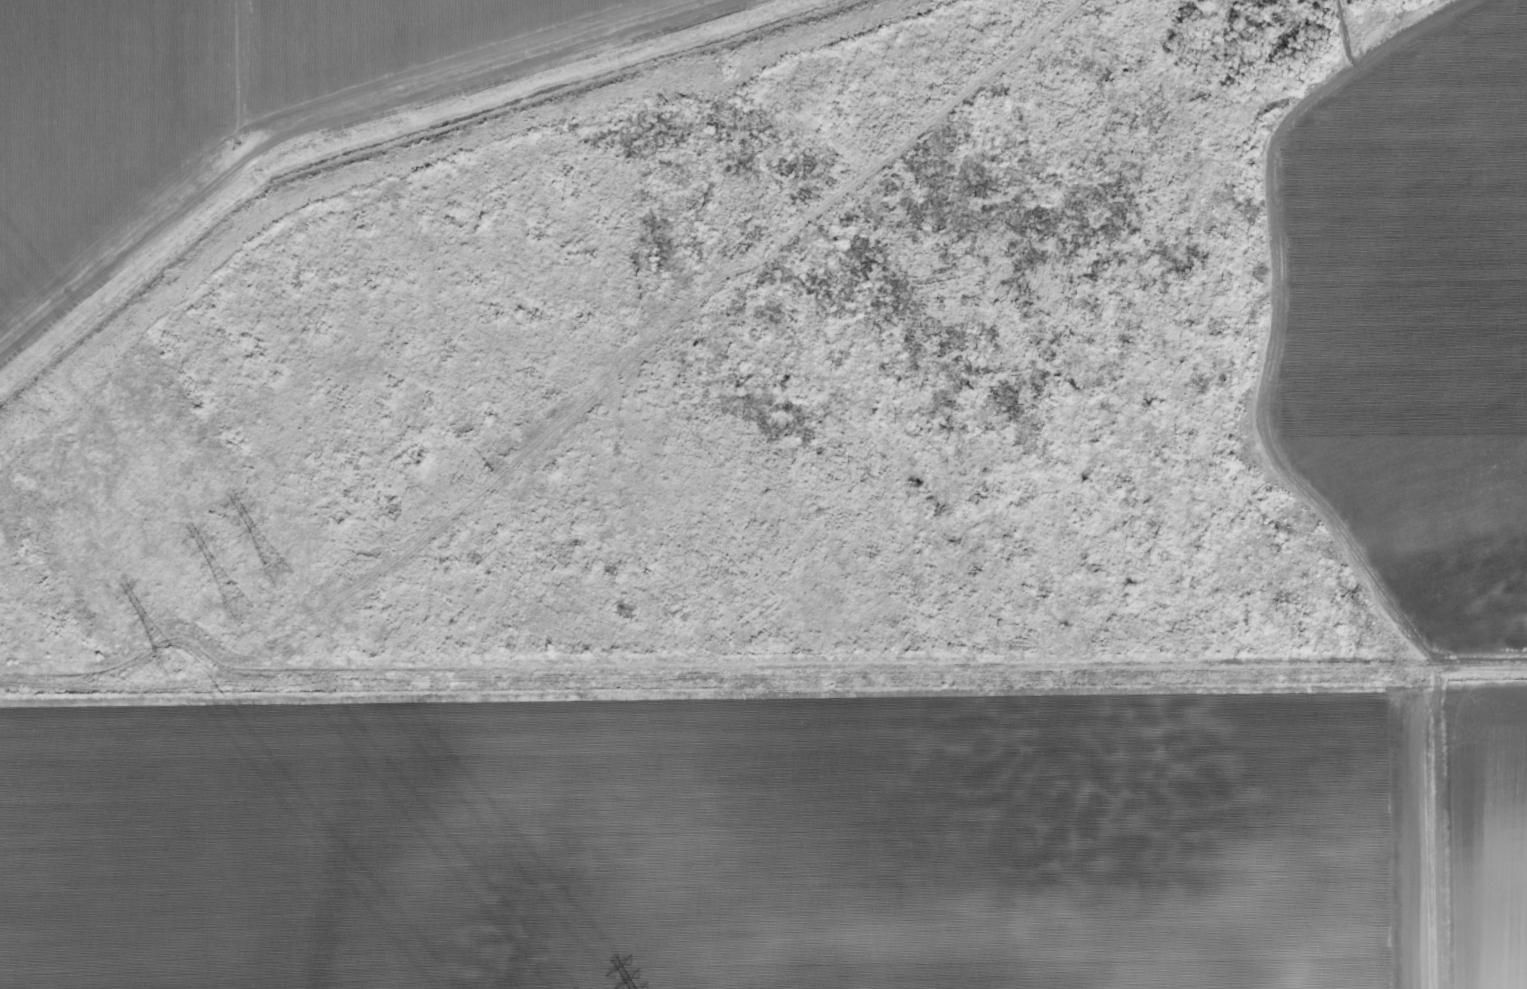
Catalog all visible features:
power tower: (1050, 13)
power tower: (762, 250)
power tower: (492, 470)
power tower: (279, 576)
power tower: (239, 609)
power tower: (172, 667)
power tower: (221, 694)

